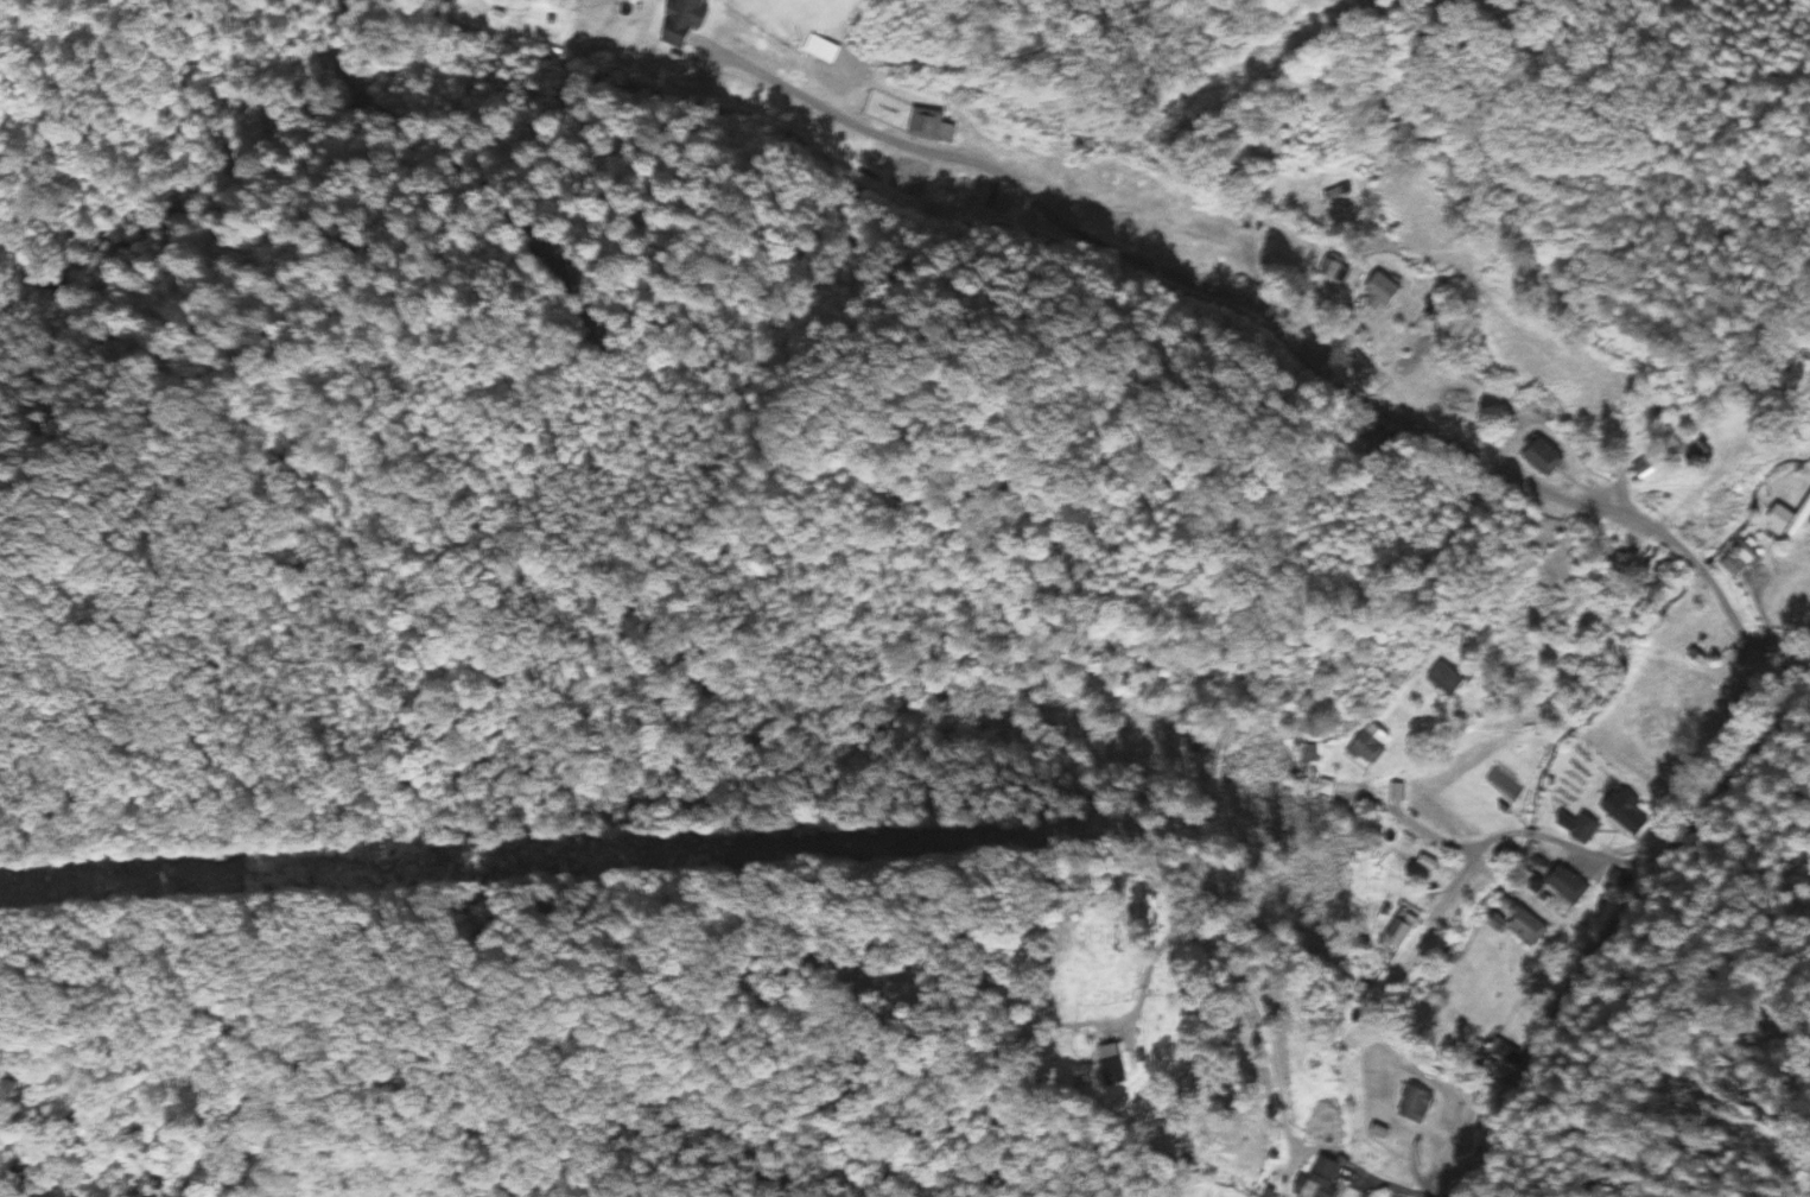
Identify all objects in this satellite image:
building: (692, 24)
building: (932, 125)
building: (1340, 270)
building: (1392, 292)
road: (1282, 325)
building: (1808, 356)
building: (1689, 450)
building: (1550, 457)
building: (1644, 471)
building: (1790, 519)
building: (1696, 658)
building: (1452, 679)
building: (1376, 745)
building: (1312, 754)
building: (1329, 788)
building: (1624, 812)
building: (1580, 828)
road: (1498, 837)
road: (1453, 879)
building: (1567, 885)
building: (1522, 923)
road: (1614, 924)
building: (1408, 929)
building: (1152, 1057)
building: (1123, 1060)
building: (1414, 1104)
building: (1329, 1178)

